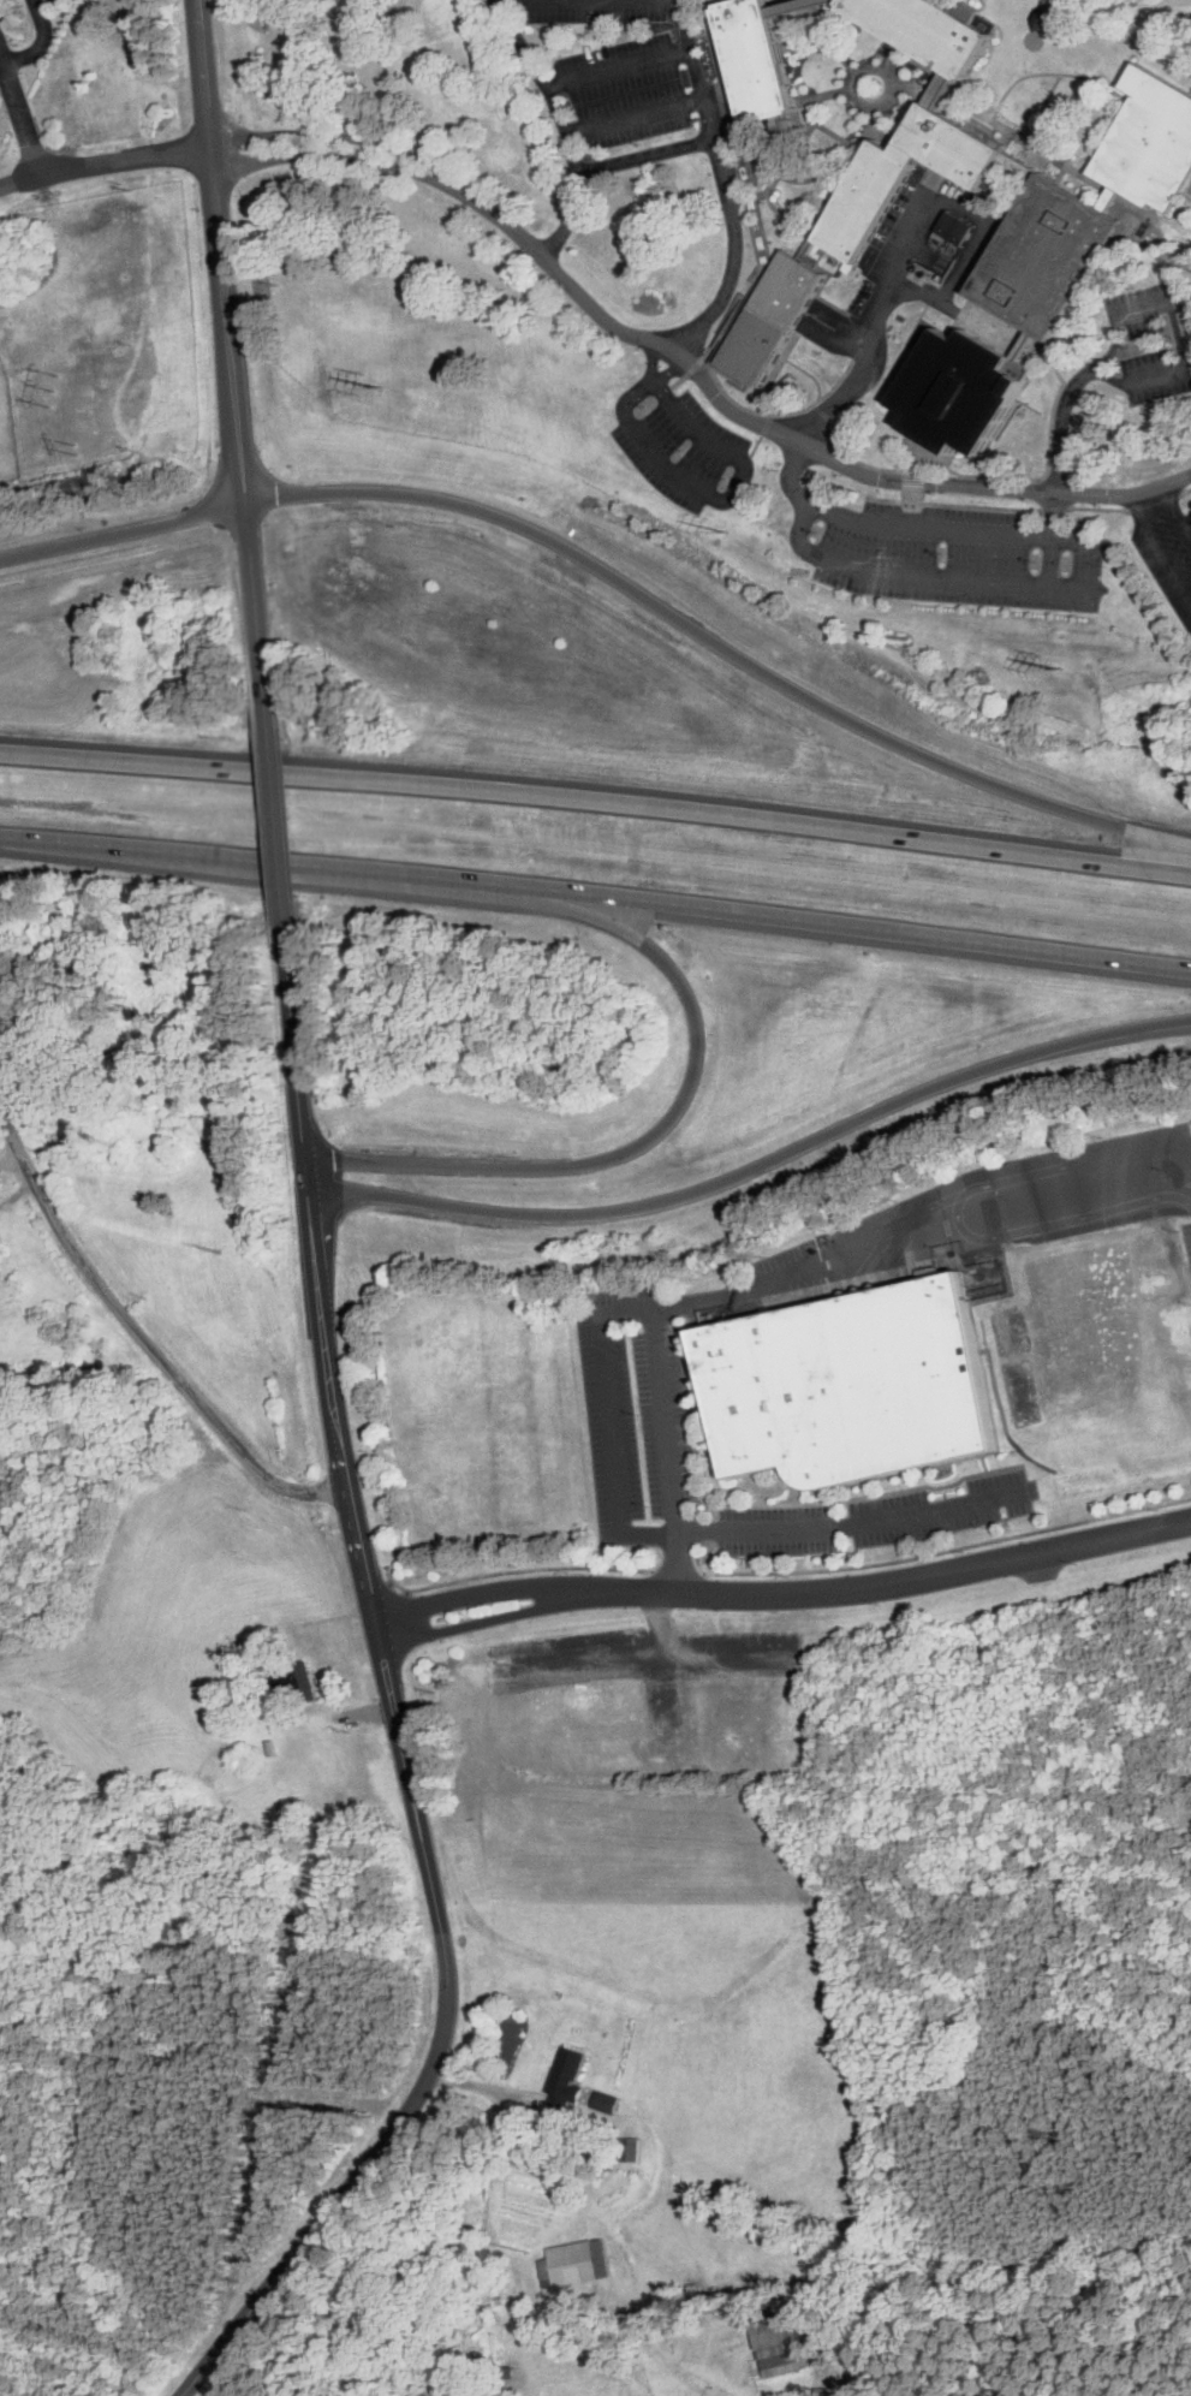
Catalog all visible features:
road: (798, 5)
parking lot: (590, 10)
road: (829, 18)
building: (1046, 19)
building: (937, 29)
road: (705, 31)
road: (1026, 31)
road: (826, 38)
road: (41, 41)
road: (918, 41)
road: (714, 48)
road: (893, 50)
building: (761, 59)
road: (869, 66)
road: (617, 67)
road: (693, 71)
road: (1025, 75)
road: (954, 79)
road: (930, 81)
road: (941, 84)
road: (720, 89)
road: (833, 90)
parking lot: (626, 91)
road: (725, 96)
road: (929, 105)
road: (964, 105)
road: (1041, 105)
road: (22, 111)
road: (633, 117)
road: (721, 119)
road: (561, 125)
road: (1120, 127)
road: (832, 132)
road: (363, 138)
road: (732, 139)
road: (985, 139)
building: (1153, 141)
road: (1032, 143)
building: (955, 144)
road: (852, 151)
road: (1032, 155)
road: (922, 156)
road: (359, 157)
road: (644, 157)
road: (103, 161)
road: (839, 161)
road: (732, 162)
road: (1023, 165)
road: (1073, 168)
road: (934, 178)
road: (752, 179)
road: (775, 179)
road: (794, 179)
road: (739, 184)
road: (742, 188)
road: (1007, 195)
road: (748, 197)
road: (1110, 198)
road: (1145, 198)
building: (869, 200)
road: (1084, 201)
road: (1122, 207)
road: (1148, 209)
road: (755, 210)
road: (787, 215)
road: (1144, 222)
building: (955, 226)
road: (909, 230)
road: (760, 231)
road: (1135, 232)
road: (766, 250)
road: (734, 255)
building: (1049, 255)
road: (1172, 261)
road: (1171, 272)
road: (1097, 285)
road: (1181, 292)
road: (736, 301)
road: (948, 305)
parking lot: (1142, 307)
road: (745, 310)
building: (775, 316)
road: (1175, 322)
road: (728, 334)
road: (1038, 347)
road: (228, 350)
road: (711, 350)
road: (1040, 355)
road: (651, 358)
road: (1054, 365)
road: (668, 369)
road: (685, 373)
parking lot: (1154, 375)
power tower: (380, 386)
power tower: (55, 388)
building: (964, 391)
road: (822, 410)
road: (774, 412)
road: (1061, 423)
road: (923, 430)
road: (760, 440)
road: (808, 445)
power tower: (78, 447)
parking lot: (680, 447)
road: (919, 456)
road: (862, 460)
road: (1044, 469)
road: (924, 492)
road: (716, 494)
road: (1037, 494)
road: (1030, 509)
road: (1175, 511)
road: (922, 528)
road: (123, 530)
power tower: (727, 530)
road: (1053, 539)
road: (1159, 547)
parking lot: (1167, 552)
parking lot: (958, 555)
road: (928, 577)
road: (720, 646)
power tower: (1059, 668)
road: (596, 797)
road: (274, 811)
road: (596, 896)
building: (115, 1050)
building: (60, 1054)
road: (662, 1126)
road: (757, 1165)
building: (91, 1187)
road: (987, 1233)
road: (794, 1272)
road: (627, 1308)
road: (139, 1333)
building: (851, 1386)
road: (754, 1530)
road: (899, 1583)
road: (484, 1591)
road: (489, 1616)
building: (293, 1672)
road: (389, 1701)
building: (243, 1758)
building: (570, 2076)
building: (576, 2263)
building: (776, 2333)

